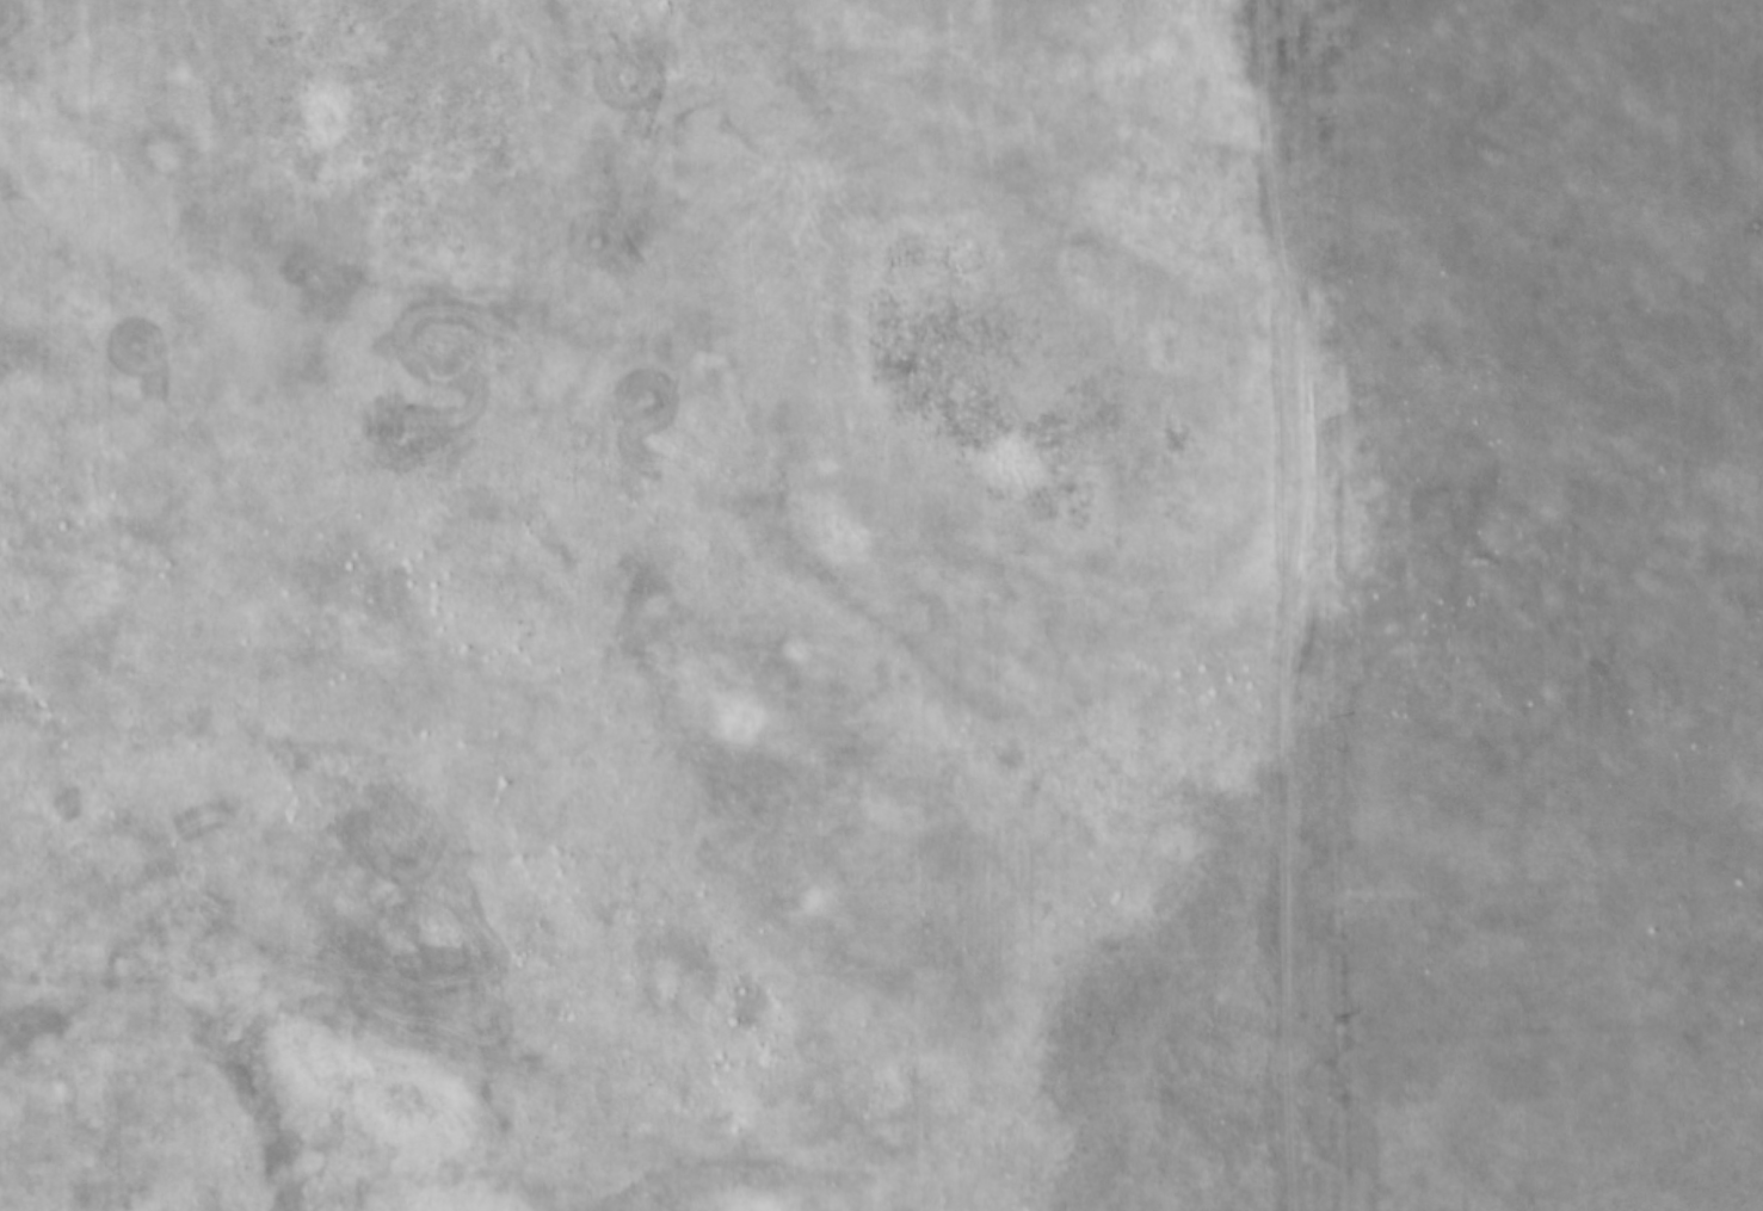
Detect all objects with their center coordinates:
road: (1314, 605)

